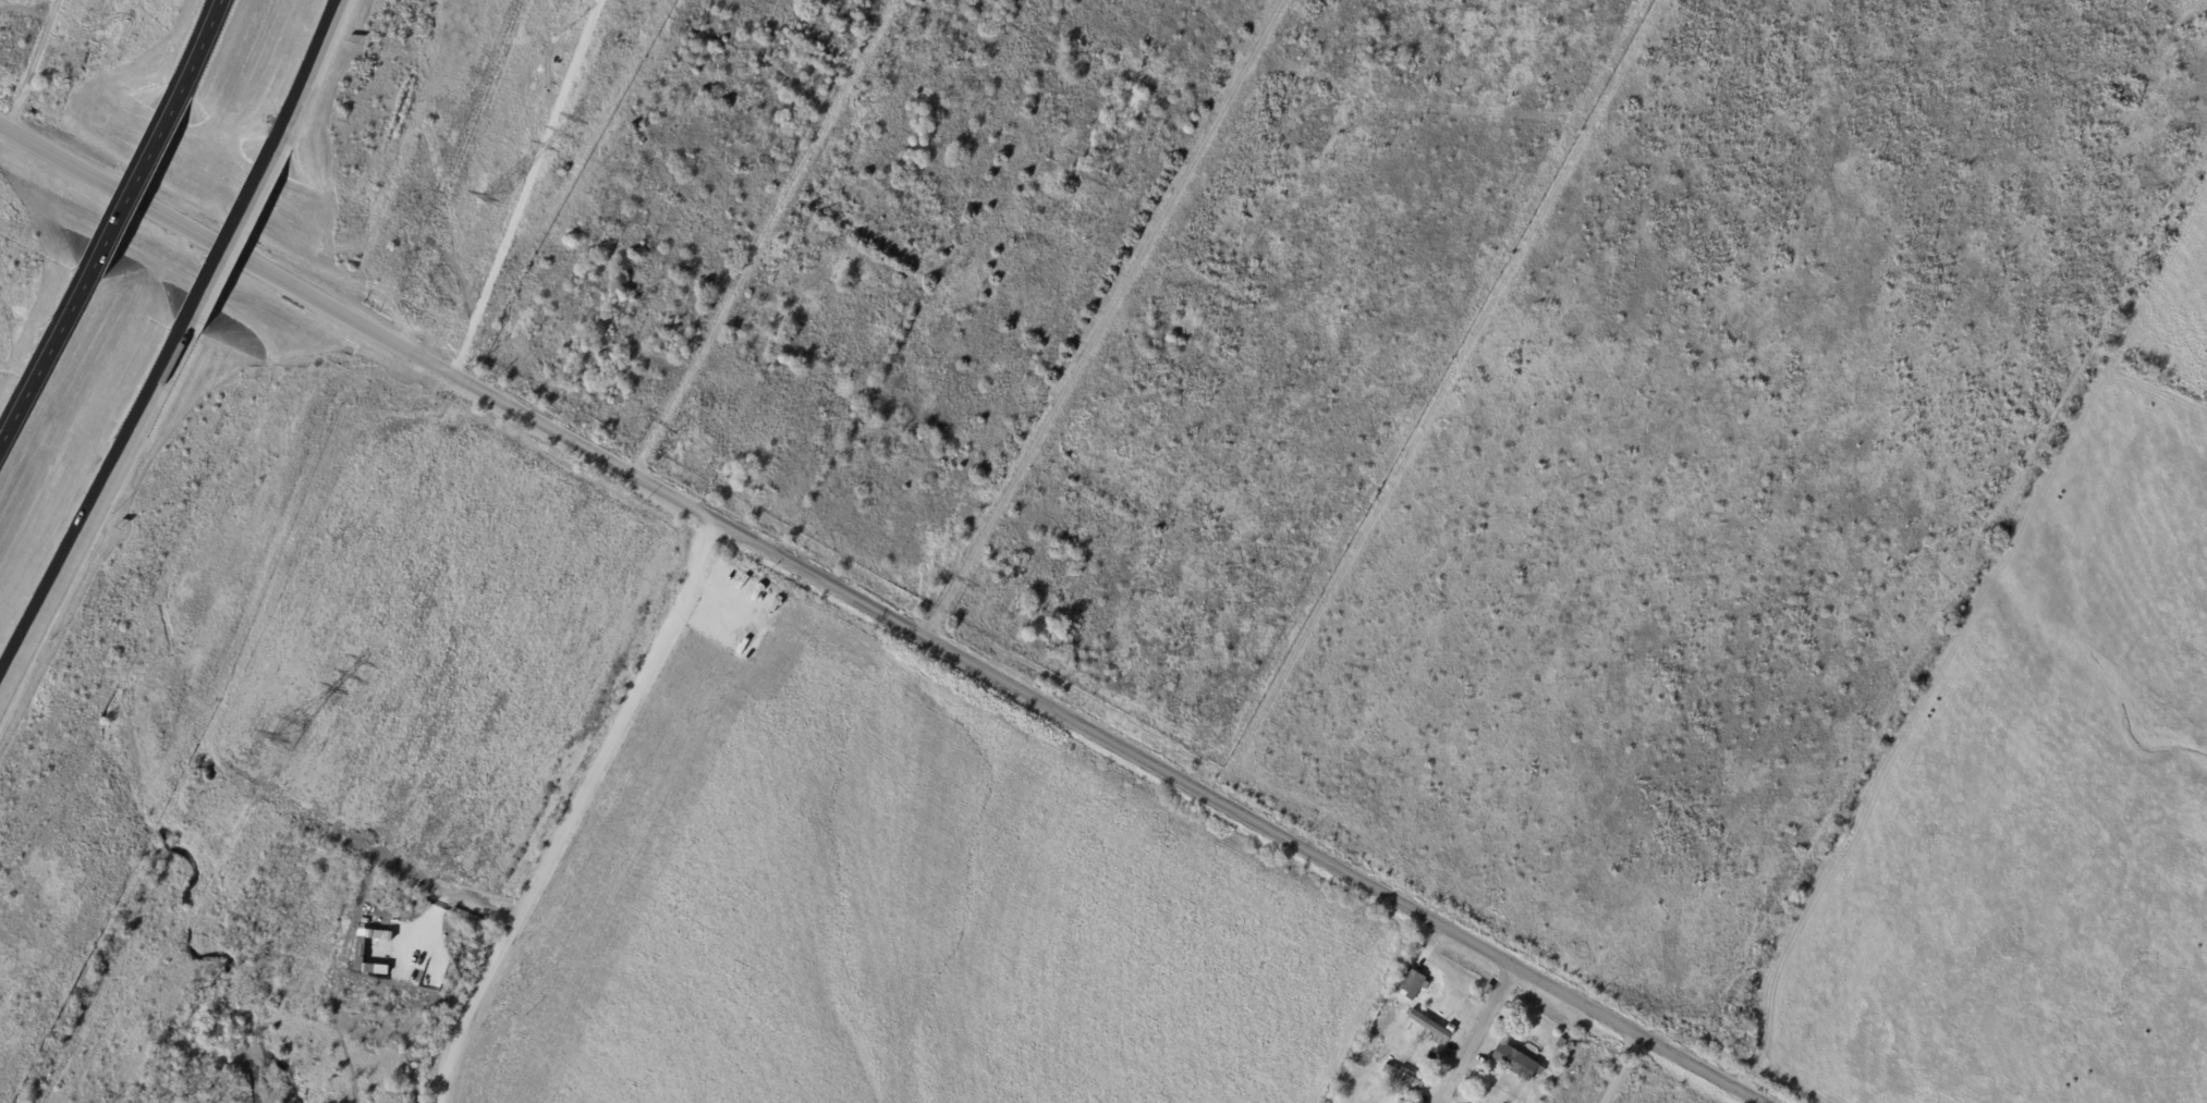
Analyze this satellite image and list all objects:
road: (198, 44)
road: (309, 71)
road: (133, 181)
road: (533, 188)
power tower: (488, 199)
road: (232, 236)
road: (766, 237)
road: (42, 352)
road: (92, 506)
road: (882, 612)
power tower: (280, 740)
road: (574, 810)
building: (1402, 972)
building: (1412, 986)
building: (1486, 989)
building: (1429, 1027)
building: (1450, 1028)
road: (1476, 1034)
building: (1560, 1044)
building: (1370, 1054)
building: (1514, 1063)
road: (1620, 1067)
building: (1402, 1078)

